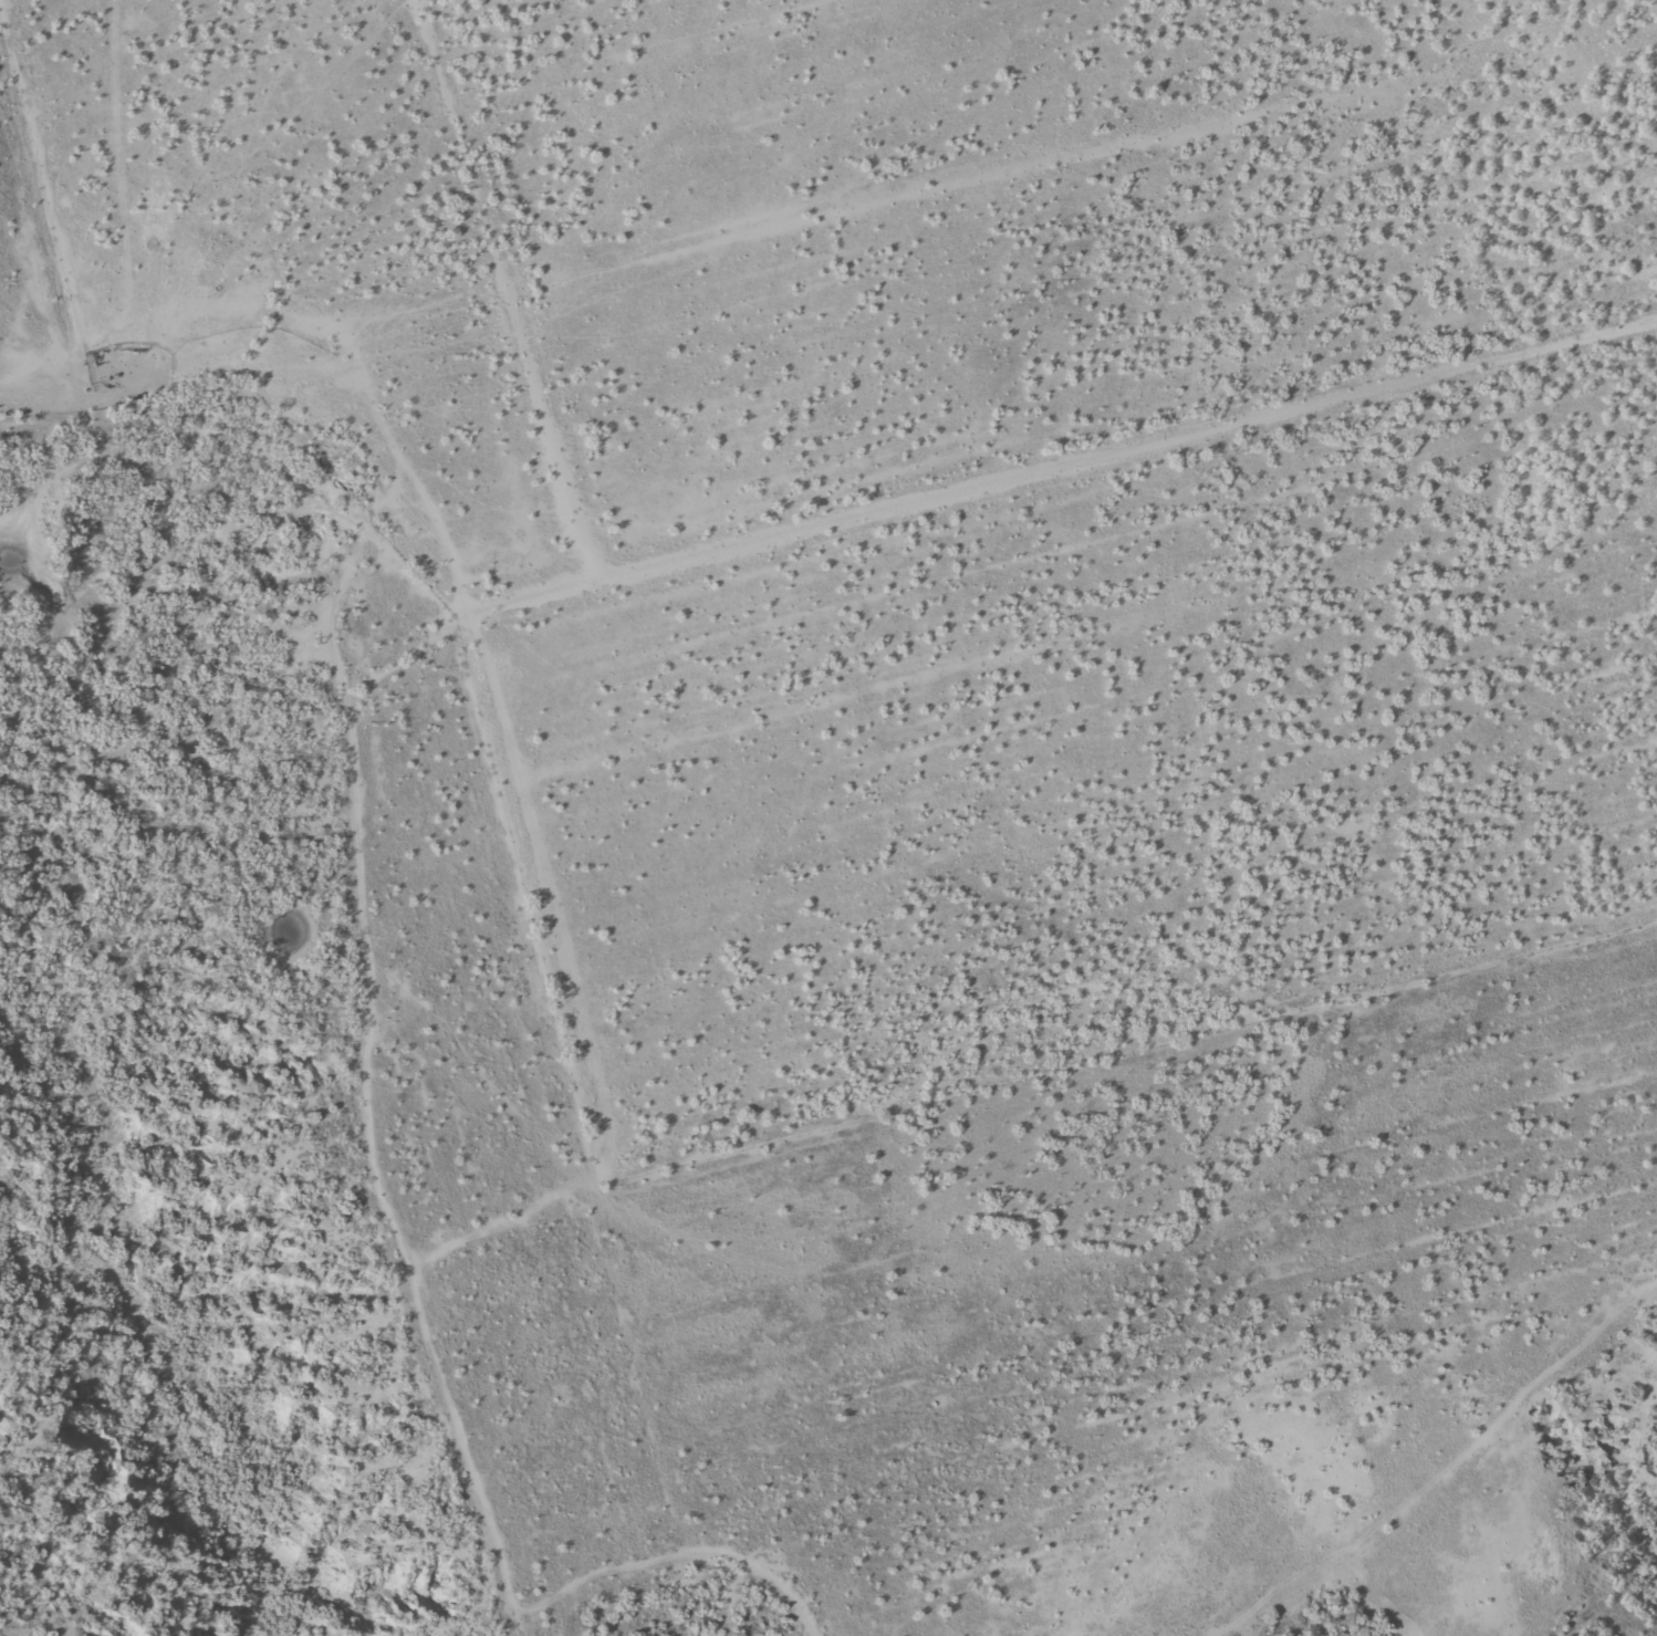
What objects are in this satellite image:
road: (885, 195)
road: (619, 1189)
road: (1292, 1486)

